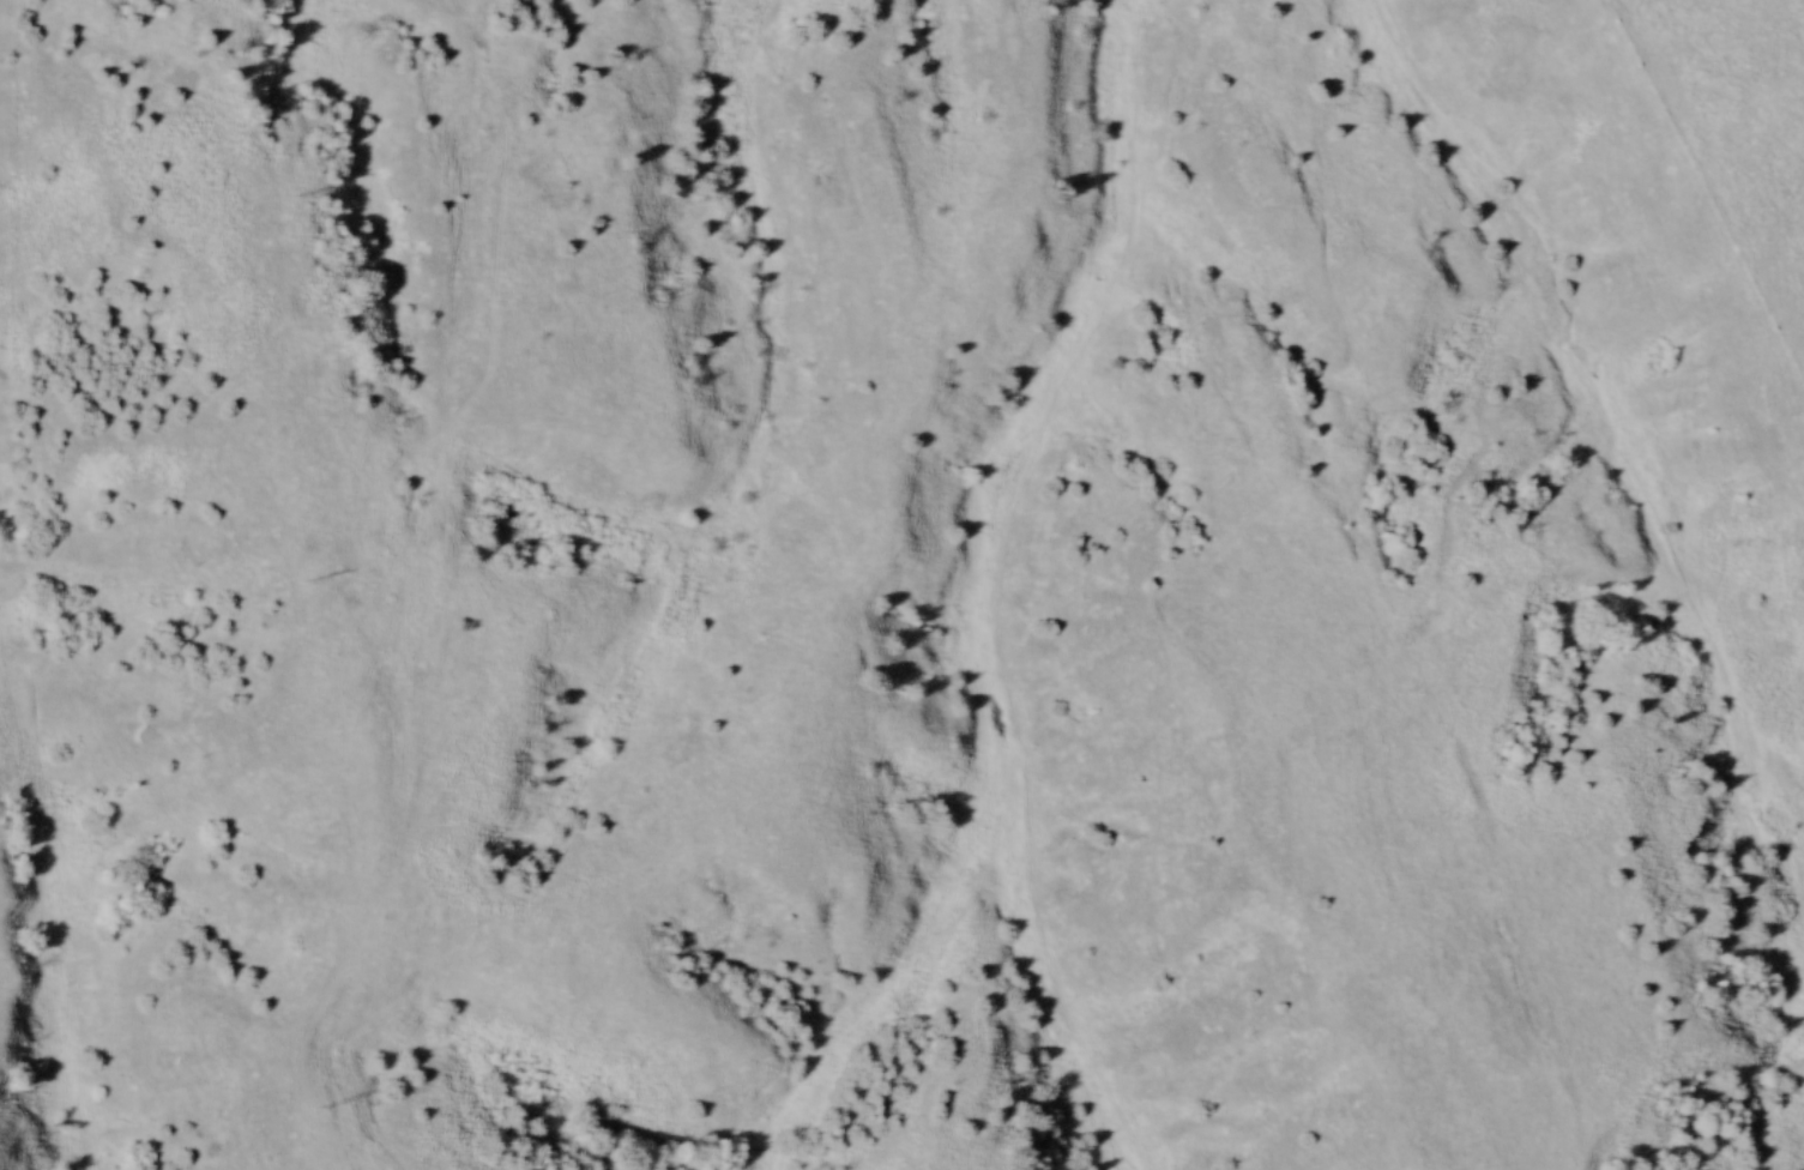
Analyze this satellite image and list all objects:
power tower: (290, 199)
power tower: (307, 584)
power tower: (320, 1112)

